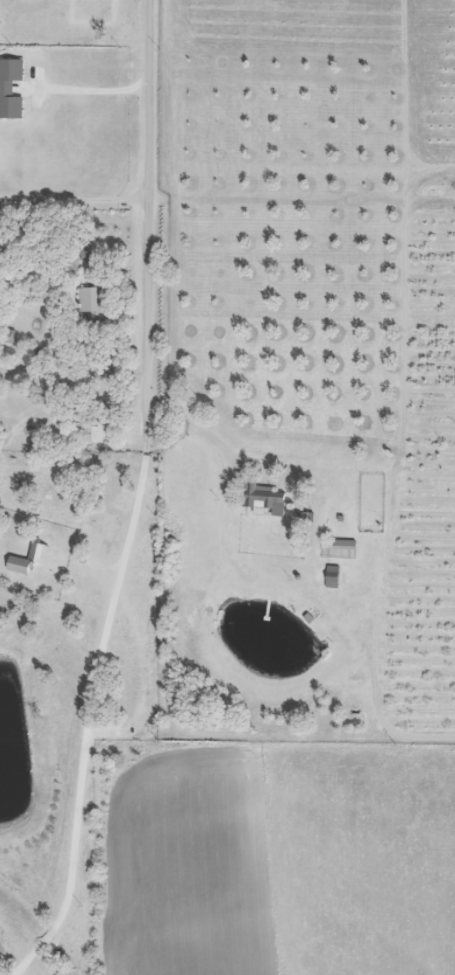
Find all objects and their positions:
building: (10, 88)
building: (92, 307)
building: (88, 431)
road: (131, 498)
building: (261, 498)
building: (337, 548)
building: (27, 559)
building: (331, 576)

